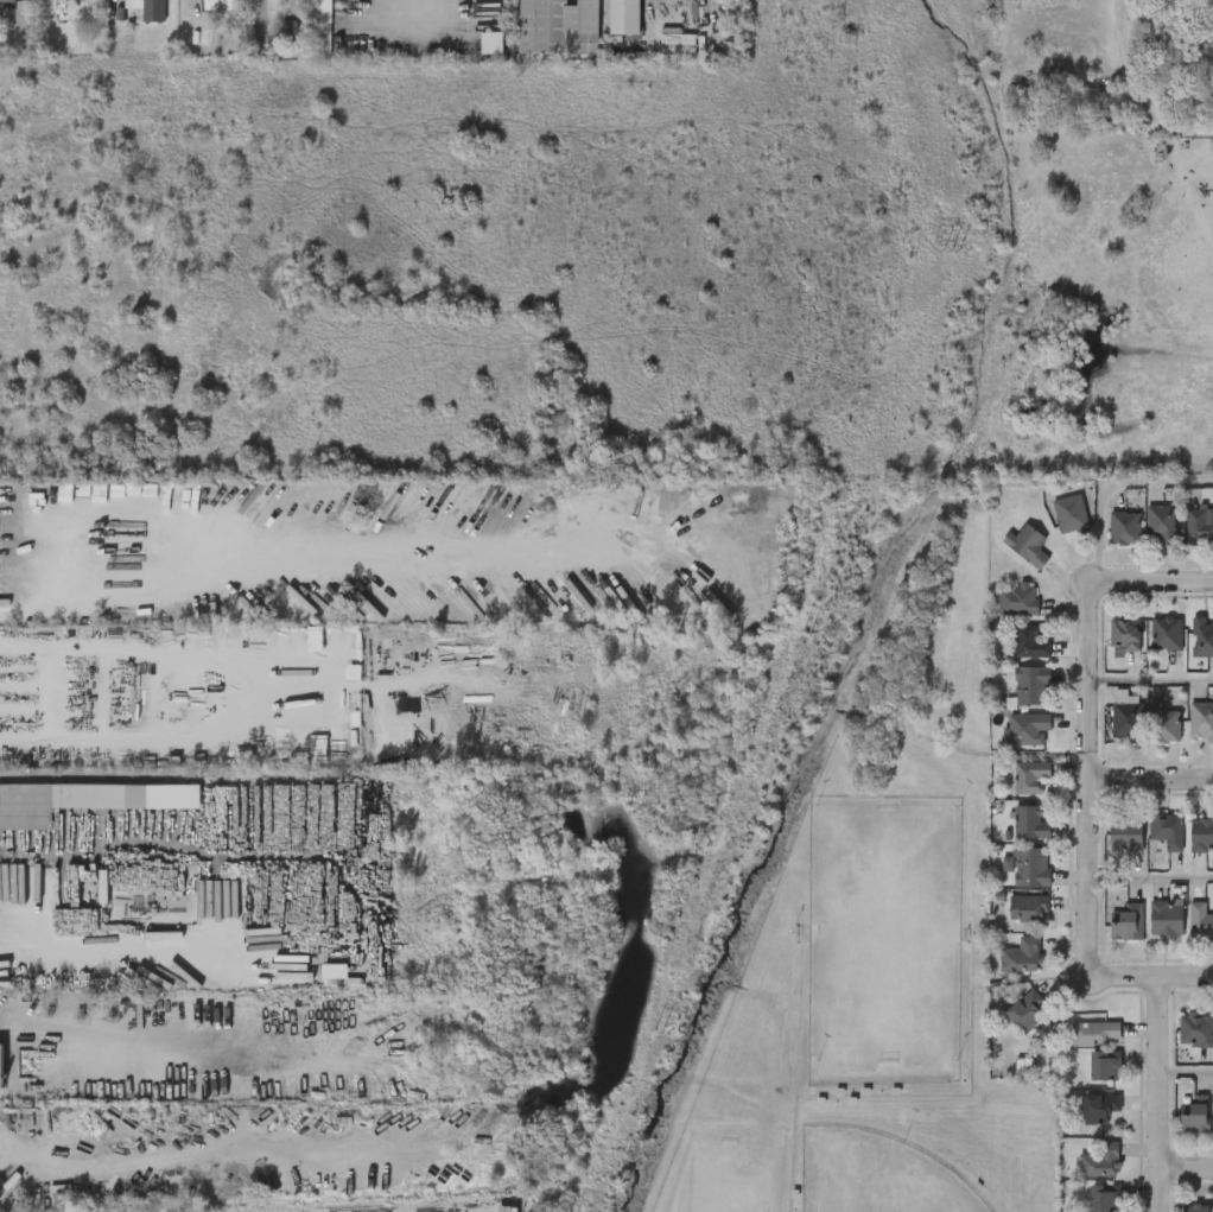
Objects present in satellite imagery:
building: (7, 0)
building: (221, 7)
road: (658, 7)
building: (150, 8)
building: (625, 17)
building: (322, 26)
building: (558, 27)
building: (198, 36)
building: (290, 37)
building: (491, 43)
building: (678, 46)
road: (1111, 483)
building: (1068, 513)
building: (1161, 523)
building: (1199, 526)
building: (1123, 527)
road: (209, 529)
building: (1025, 545)
road: (1154, 578)
building: (1016, 599)
building: (5, 602)
road: (21, 611)
building: (1166, 633)
building: (1124, 634)
building: (1202, 636)
building: (1030, 641)
road: (1150, 679)
building: (1030, 685)
building: (1125, 718)
building: (1201, 721)
building: (1164, 724)
building: (1024, 730)
road: (1088, 764)
building: (1029, 775)
road: (1151, 779)
building: (85, 800)
building: (1029, 821)
building: (1166, 830)
building: (1201, 835)
building: (1124, 836)
building: (1030, 867)
road: (1151, 882)
building: (1028, 910)
building: (1164, 918)
building: (1125, 920)
building: (1200, 920)
road: (146, 945)
building: (1020, 956)
road: (1143, 977)
building: (1024, 1010)
building: (1194, 1028)
road: (89, 1032)
building: (1094, 1034)
building: (1103, 1065)
building: (1, 1067)
road: (1186, 1078)
road: (1160, 1093)
building: (1099, 1108)
building: (1193, 1117)
building: (1099, 1162)
road: (1186, 1169)
building: (1103, 1199)
building: (1194, 1207)

